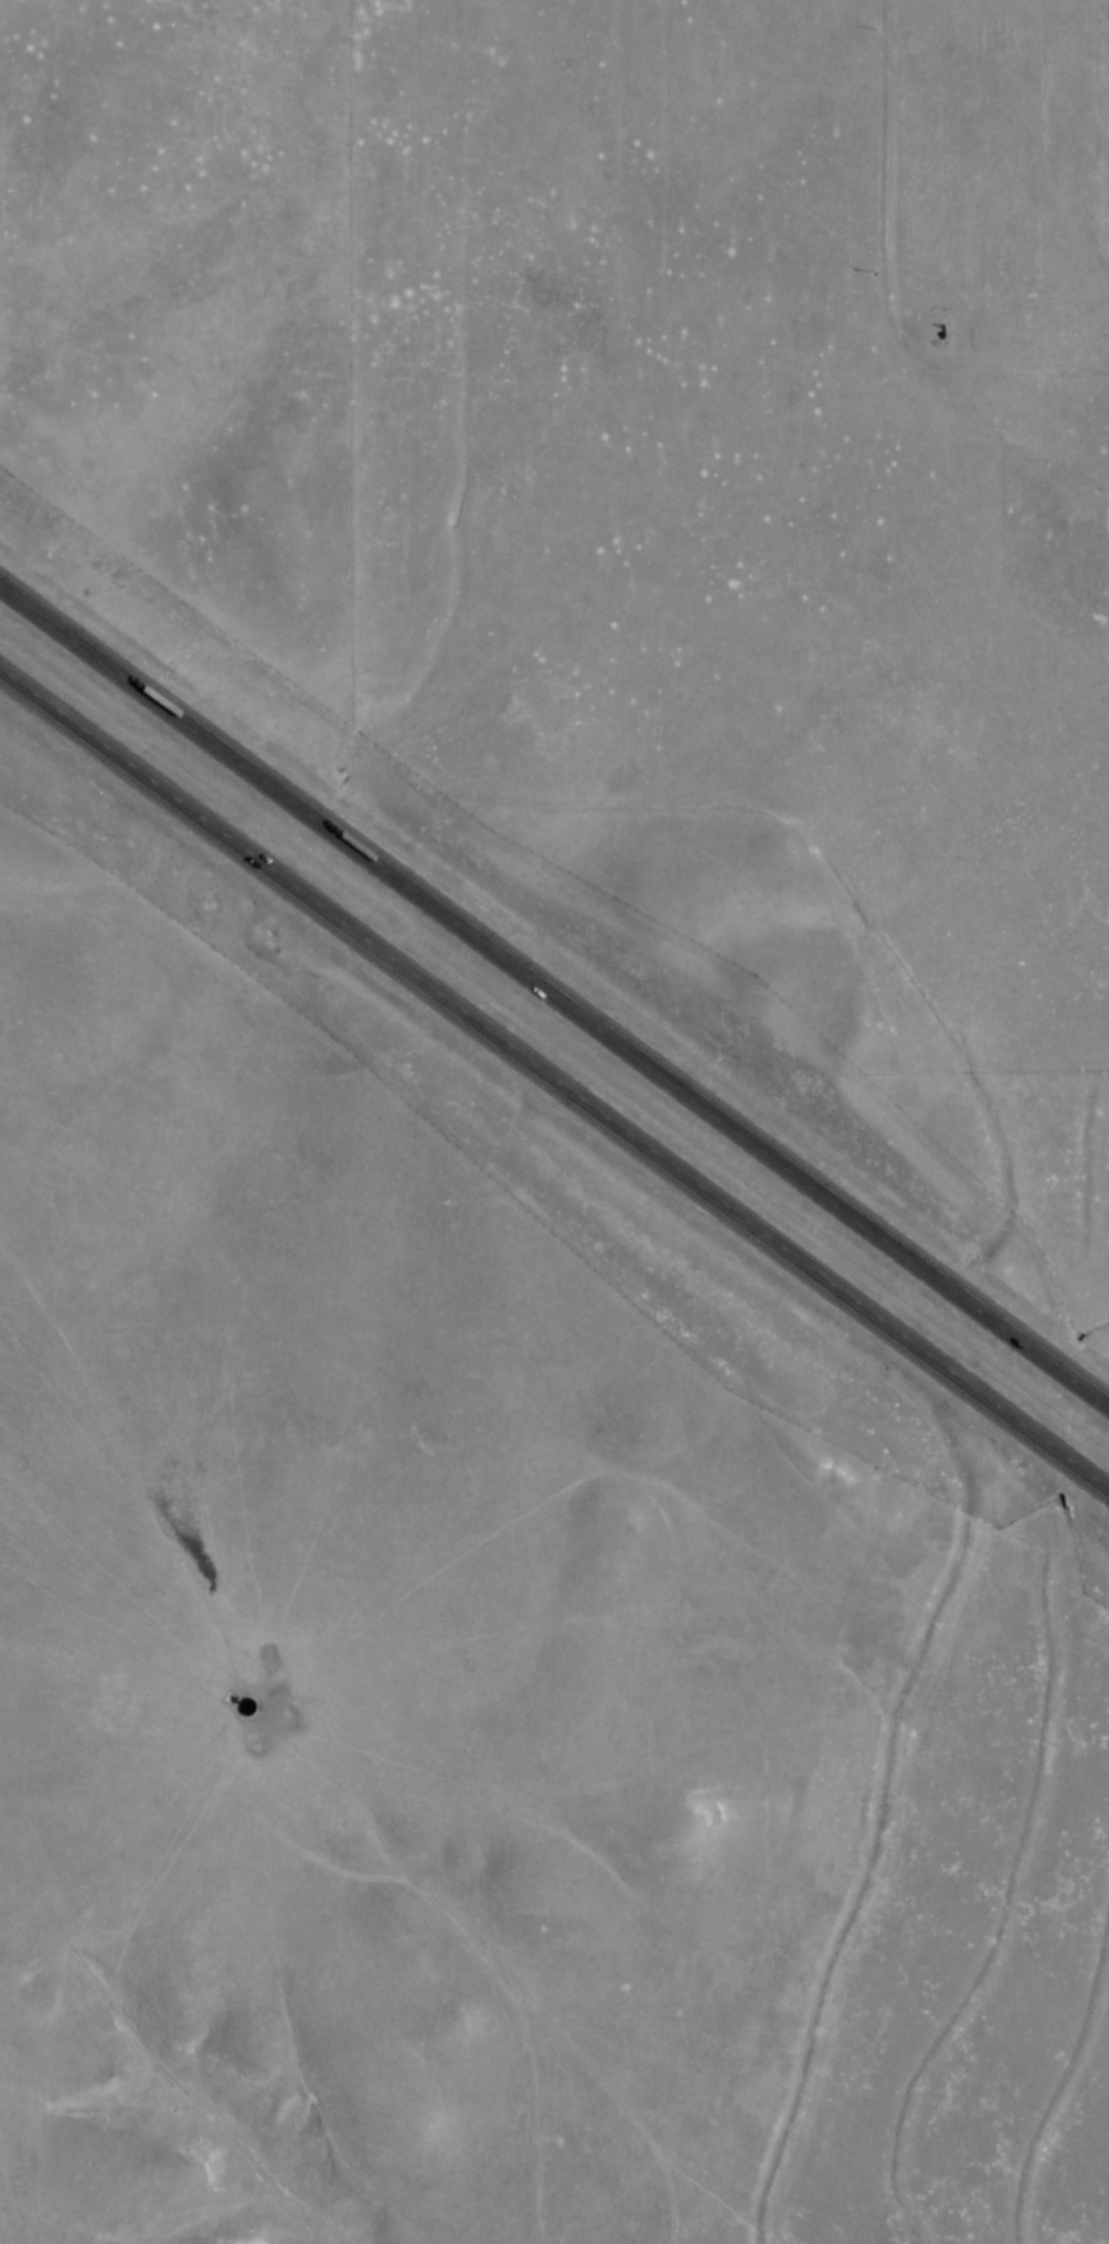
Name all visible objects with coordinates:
road: (554, 992)
road: (554, 1076)

